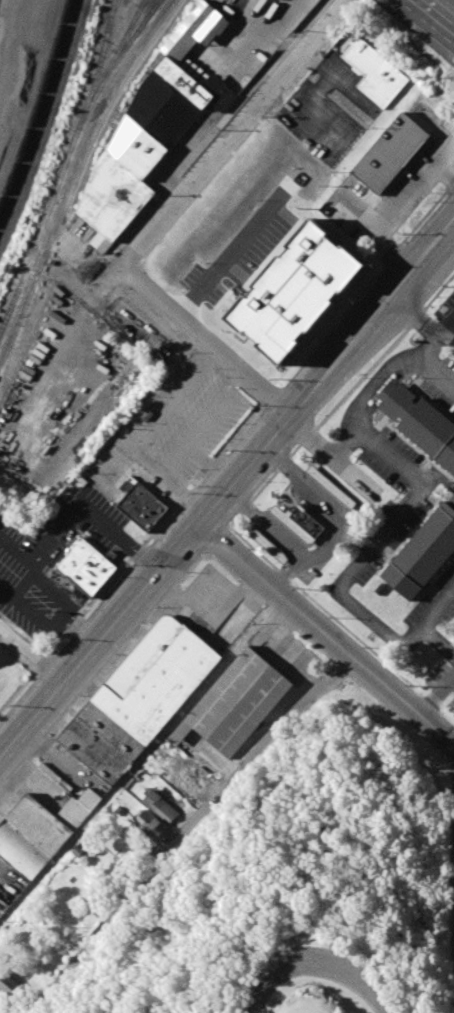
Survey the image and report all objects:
road: (427, 21)
railway: (134, 23)
road: (5, 25)
railway: (120, 46)
railway: (113, 65)
building: (376, 71)
railway: (123, 99)
railway: (38, 104)
railway: (44, 115)
building: (153, 129)
road: (230, 133)
railway: (69, 154)
building: (390, 154)
railway: (74, 173)
road: (388, 214)
road: (221, 249)
road: (425, 264)
building: (289, 297)
parking lot: (447, 312)
railway: (6, 318)
road: (426, 323)
road: (206, 340)
road: (438, 368)
parking lot: (441, 384)
road: (173, 400)
road: (217, 409)
road: (361, 410)
building: (146, 415)
building: (420, 423)
parking lot: (173, 426)
parking lot: (392, 459)
road: (174, 462)
road: (145, 464)
road: (210, 466)
building: (330, 485)
road: (184, 498)
building: (450, 502)
road: (74, 504)
building: (142, 507)
building: (299, 521)
road: (197, 529)
parking lot: (393, 541)
building: (269, 546)
road: (329, 547)
building: (423, 554)
parking lot: (56, 560)
road: (357, 565)
building: (89, 568)
road: (290, 575)
parking lot: (436, 601)
road: (47, 618)
road: (326, 635)
road: (436, 639)
road: (34, 658)
parking lot: (443, 679)
building: (138, 697)
road: (440, 698)
building: (236, 702)
road: (141, 758)
building: (185, 785)
building: (89, 798)
building: (161, 806)
building: (118, 810)
building: (150, 825)
road: (186, 832)
building: (37, 833)
building: (76, 851)
park: (305, 884)
road: (256, 928)
parking lot: (321, 964)
road: (320, 969)
building: (10, 984)

